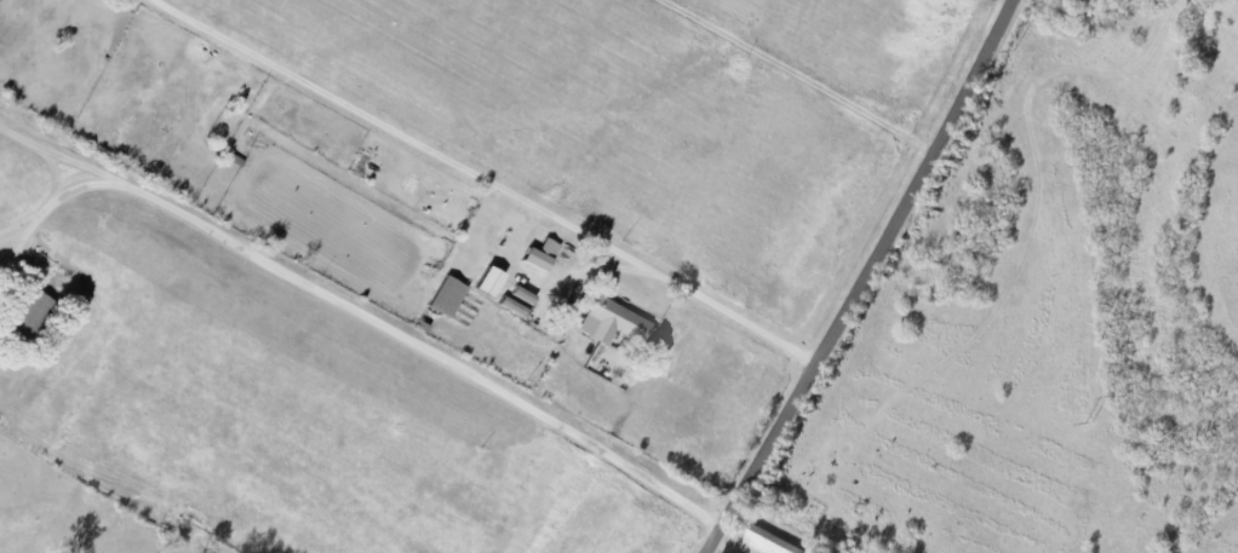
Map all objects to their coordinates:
road: (1237, 0)
power tower: (1010, 51)
road: (752, 126)
road: (486, 178)
road: (57, 200)
building: (538, 254)
road: (856, 277)
building: (29, 312)
road: (362, 313)
building: (609, 321)
power tower: (1089, 422)
building: (767, 542)

